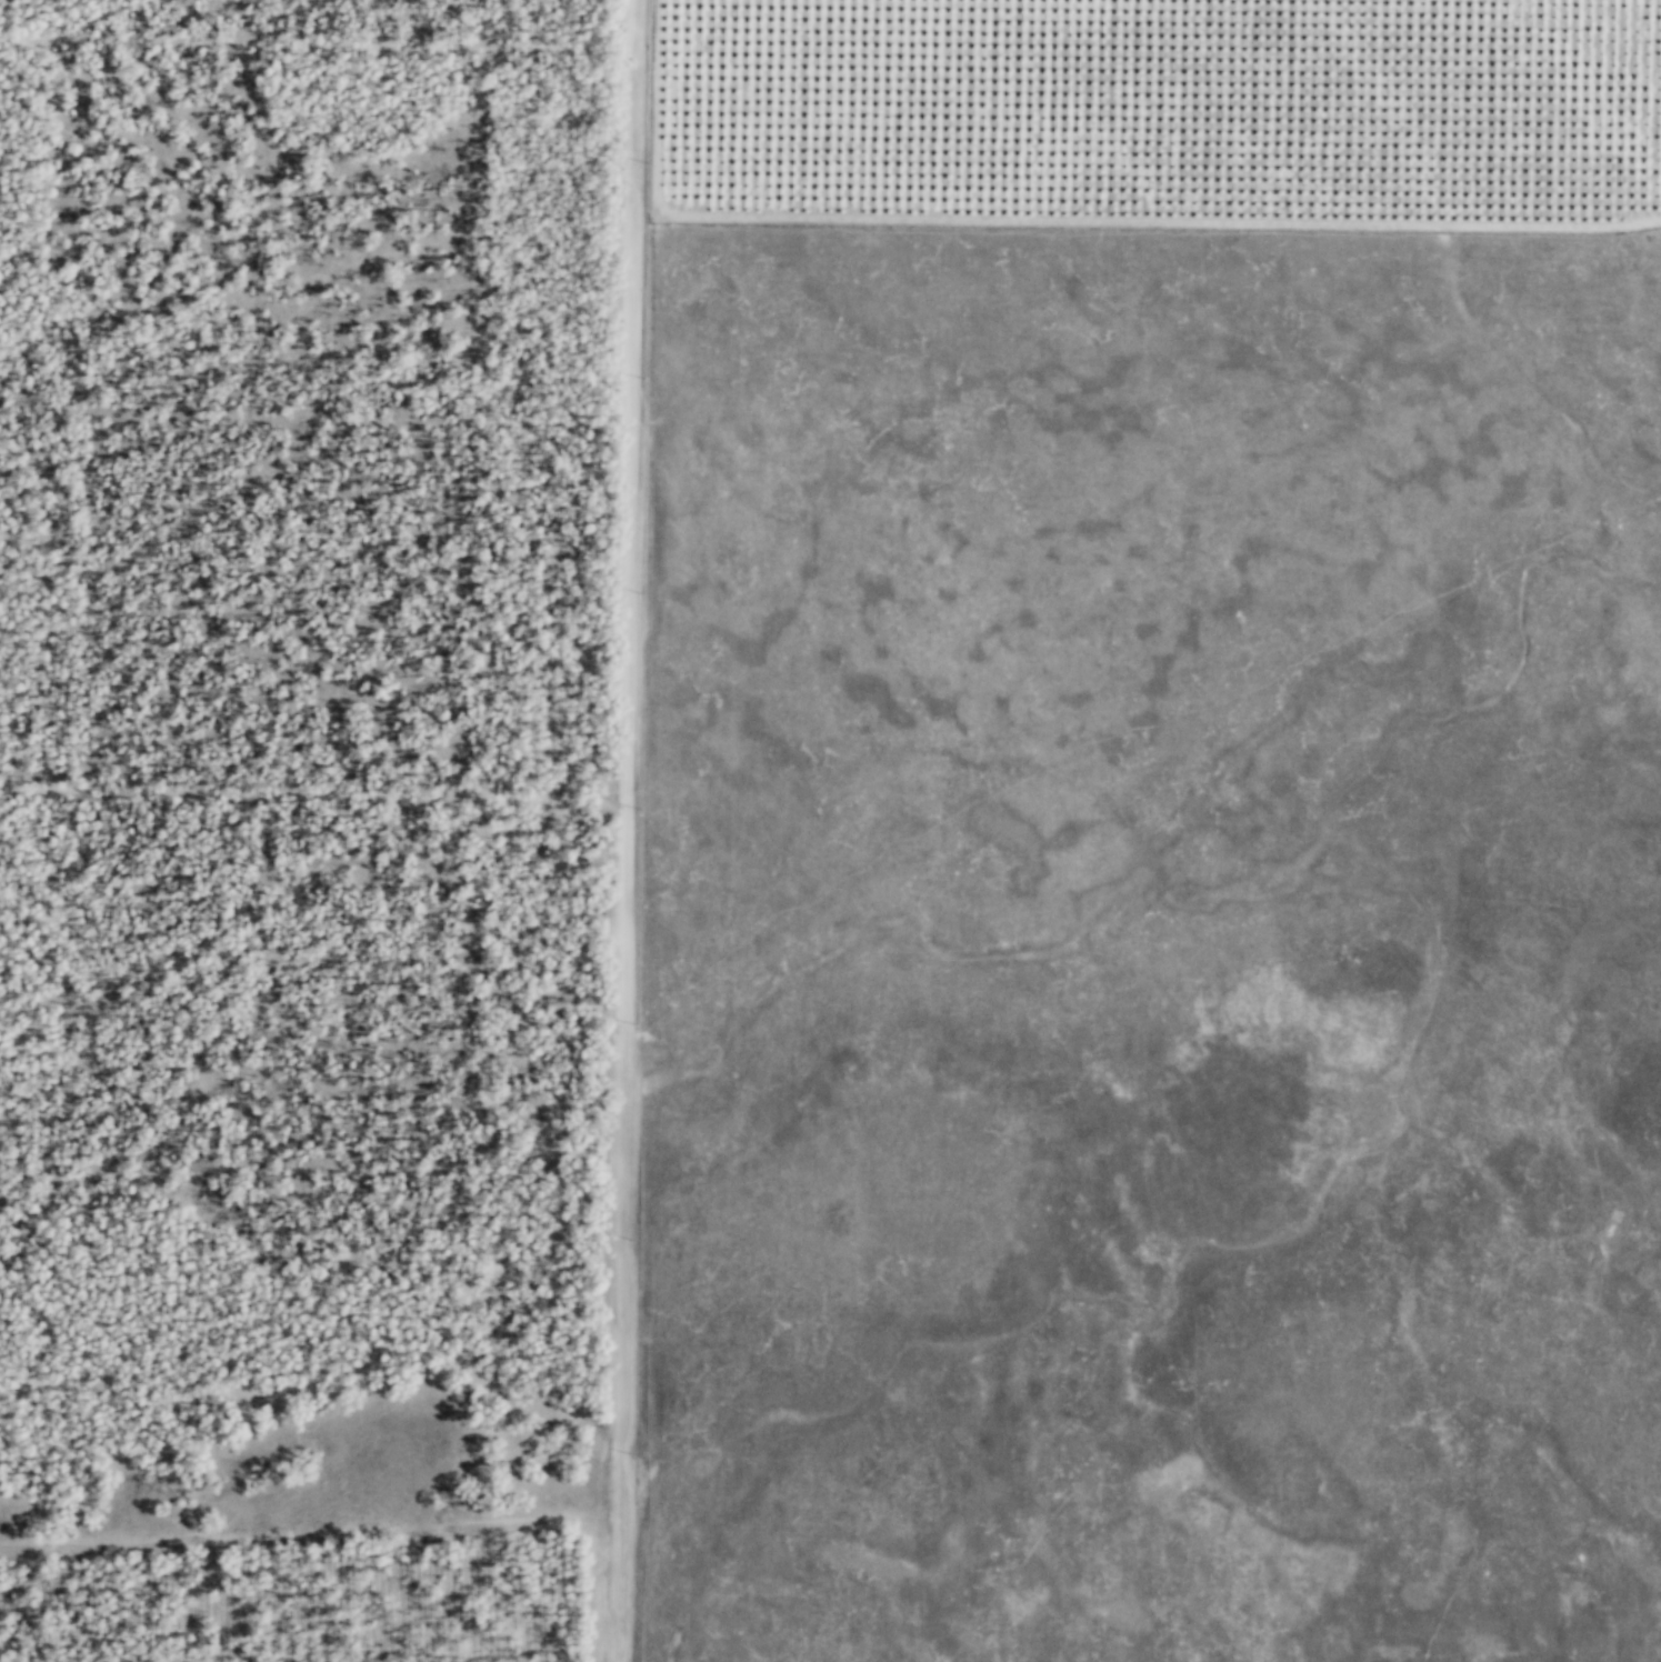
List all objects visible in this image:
road: (622, 1065)
road: (649, 1429)
road: (619, 1584)

